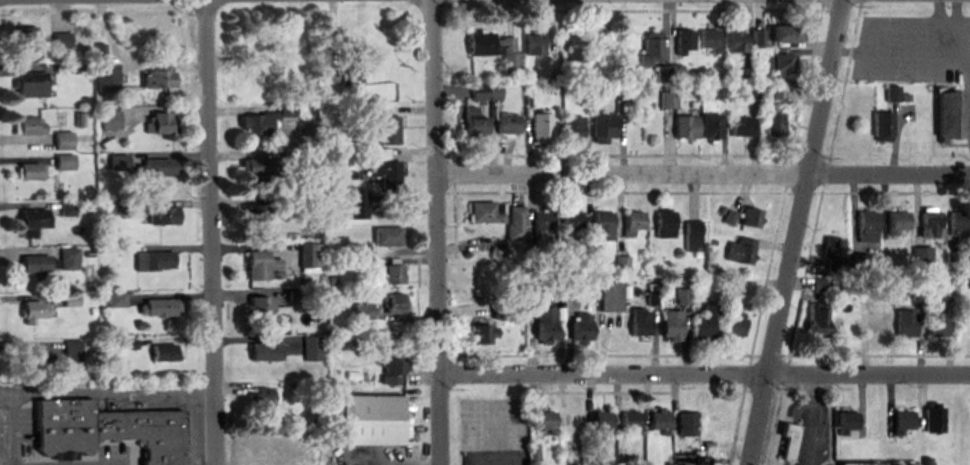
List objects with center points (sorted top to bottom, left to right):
road: (106, 0)
road: (940, 10)
road: (894, 20)
building: (287, 32)
building: (785, 32)
building: (23, 39)
building: (61, 40)
building: (710, 40)
building: (736, 40)
building: (684, 41)
building: (533, 43)
building: (574, 47)
building: (493, 49)
building: (650, 50)
road: (924, 59)
building: (778, 61)
road: (962, 69)
building: (158, 75)
building: (748, 75)
building: (105, 76)
building: (253, 79)
building: (350, 79)
building: (29, 84)
building: (484, 92)
building: (751, 92)
building: (892, 94)
building: (668, 100)
building: (773, 112)
building: (949, 114)
building: (109, 119)
building: (264, 122)
building: (157, 123)
building: (473, 123)
building: (505, 124)
building: (26, 126)
building: (602, 126)
building: (710, 126)
building: (539, 127)
building: (685, 127)
building: (742, 127)
building: (882, 127)
building: (572, 128)
building: (386, 130)
building: (62, 141)
building: (63, 162)
building: (116, 162)
building: (152, 169)
building: (383, 169)
building: (29, 171)
building: (258, 171)
road: (701, 173)
building: (354, 204)
building: (255, 213)
building: (482, 213)
building: (162, 215)
building: (730, 218)
building: (750, 218)
building: (29, 222)
building: (958, 222)
building: (515, 223)
building: (569, 223)
building: (632, 223)
building: (664, 223)
building: (898, 223)
building: (541, 224)
building: (931, 224)
building: (602, 225)
building: (867, 225)
road: (213, 232)
road: (434, 232)
road: (797, 232)
building: (384, 236)
building: (693, 236)
building: (592, 250)
building: (742, 251)
building: (833, 251)
building: (308, 258)
building: (67, 259)
building: (151, 261)
building: (31, 264)
building: (258, 265)
building: (390, 273)
building: (821, 285)
building: (609, 293)
building: (114, 300)
building: (69, 301)
building: (393, 303)
building: (258, 306)
building: (159, 308)
building: (500, 308)
building: (359, 310)
building: (31, 312)
building: (640, 322)
building: (705, 322)
building: (544, 323)
building: (906, 323)
building: (671, 324)
building: (735, 324)
building: (818, 324)
building: (963, 324)
building: (579, 326)
building: (937, 327)
building: (877, 329)
building: (477, 334)
building: (70, 350)
building: (159, 352)
building: (264, 352)
building: (30, 357)
building: (393, 365)
road: (703, 373)
road: (107, 392)
building: (260, 398)
building: (369, 419)
road: (808, 419)
building: (933, 419)
building: (602, 420)
building: (631, 420)
building: (546, 421)
building: (574, 421)
building: (658, 421)
building: (902, 422)
building: (847, 423)
building: (688, 424)
building: (108, 426)
road: (12, 428)
building: (788, 442)
building: (860, 464)

